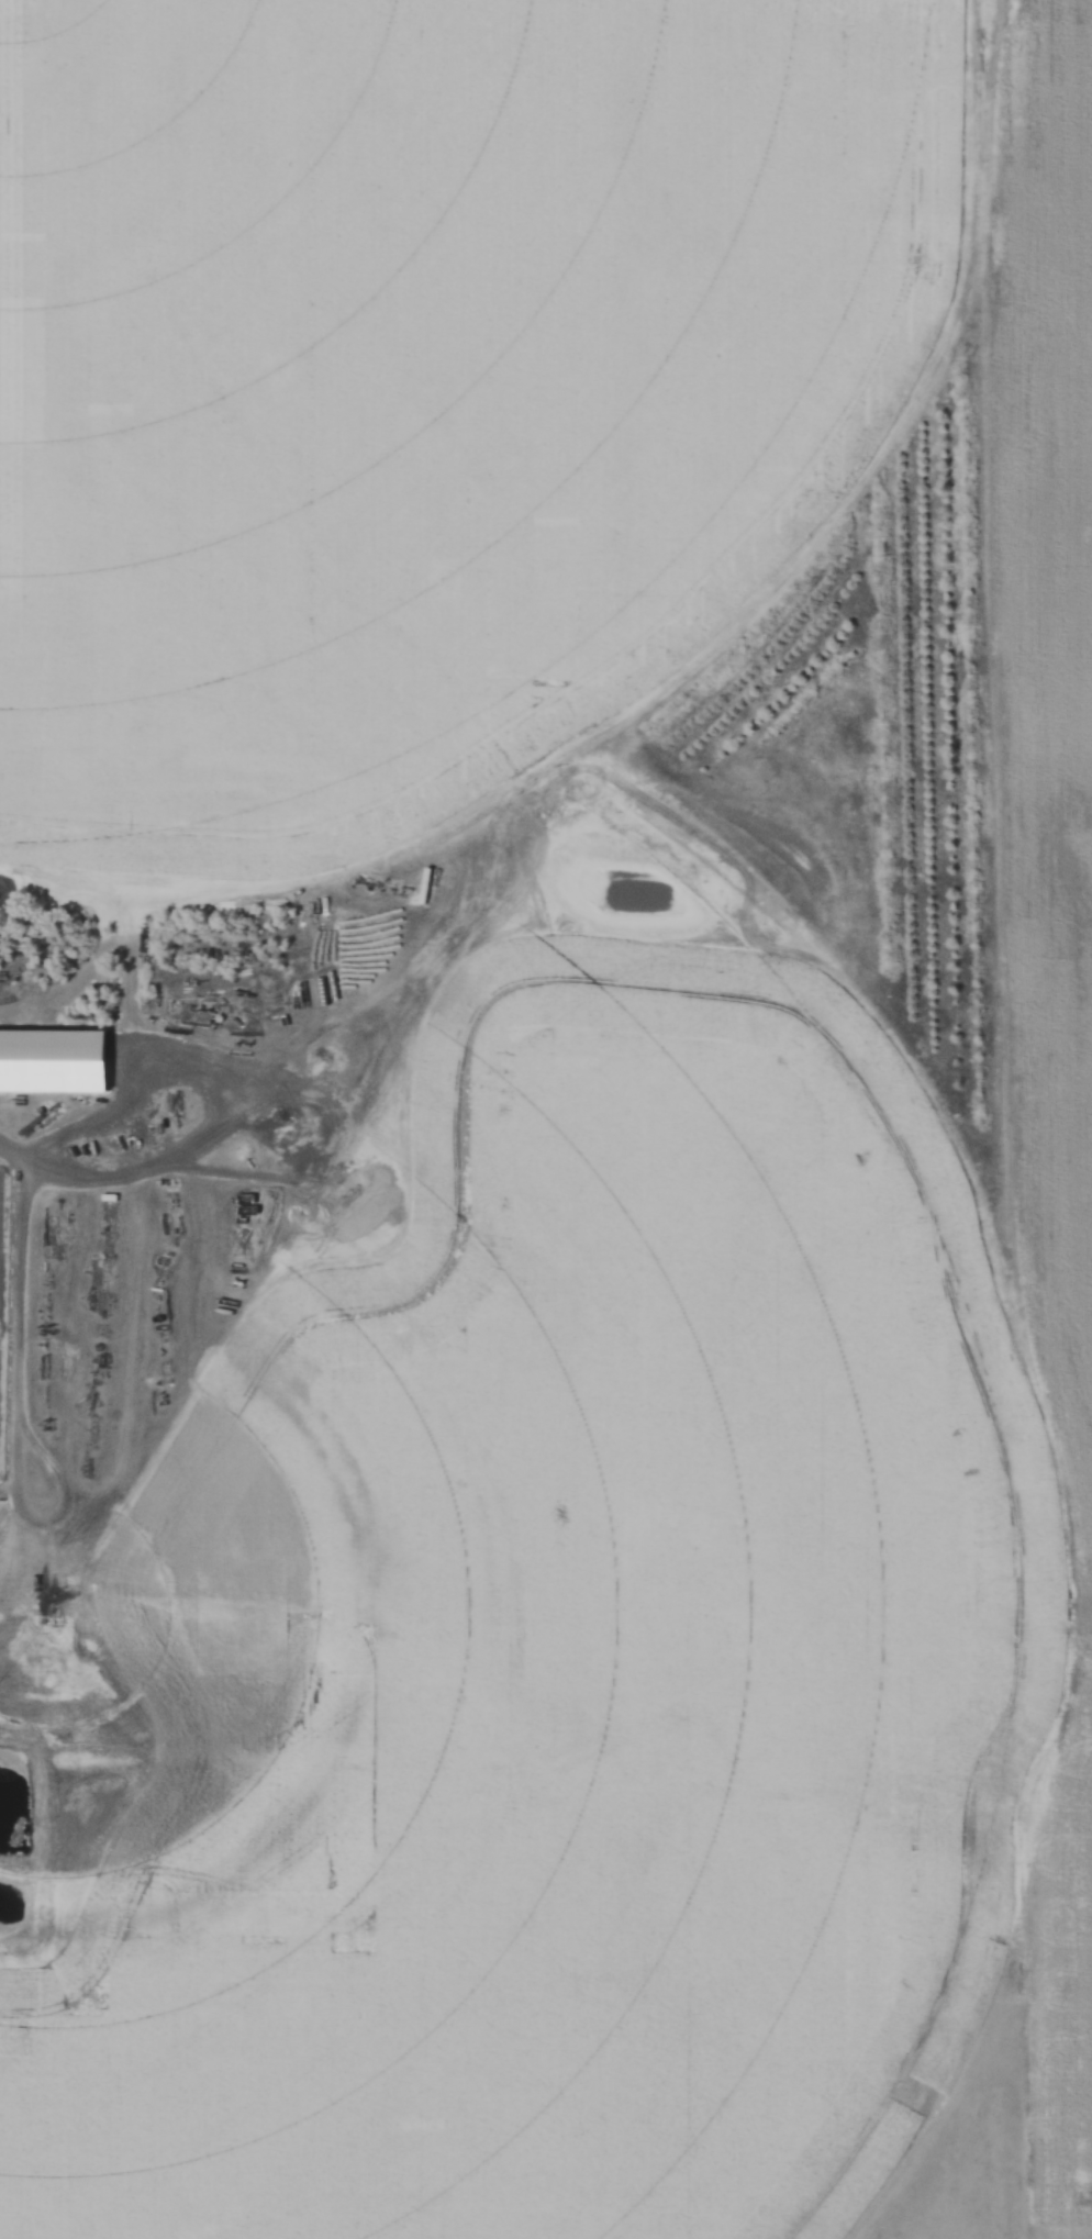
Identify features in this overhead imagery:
road: (179, 1146)
road: (14, 1304)

